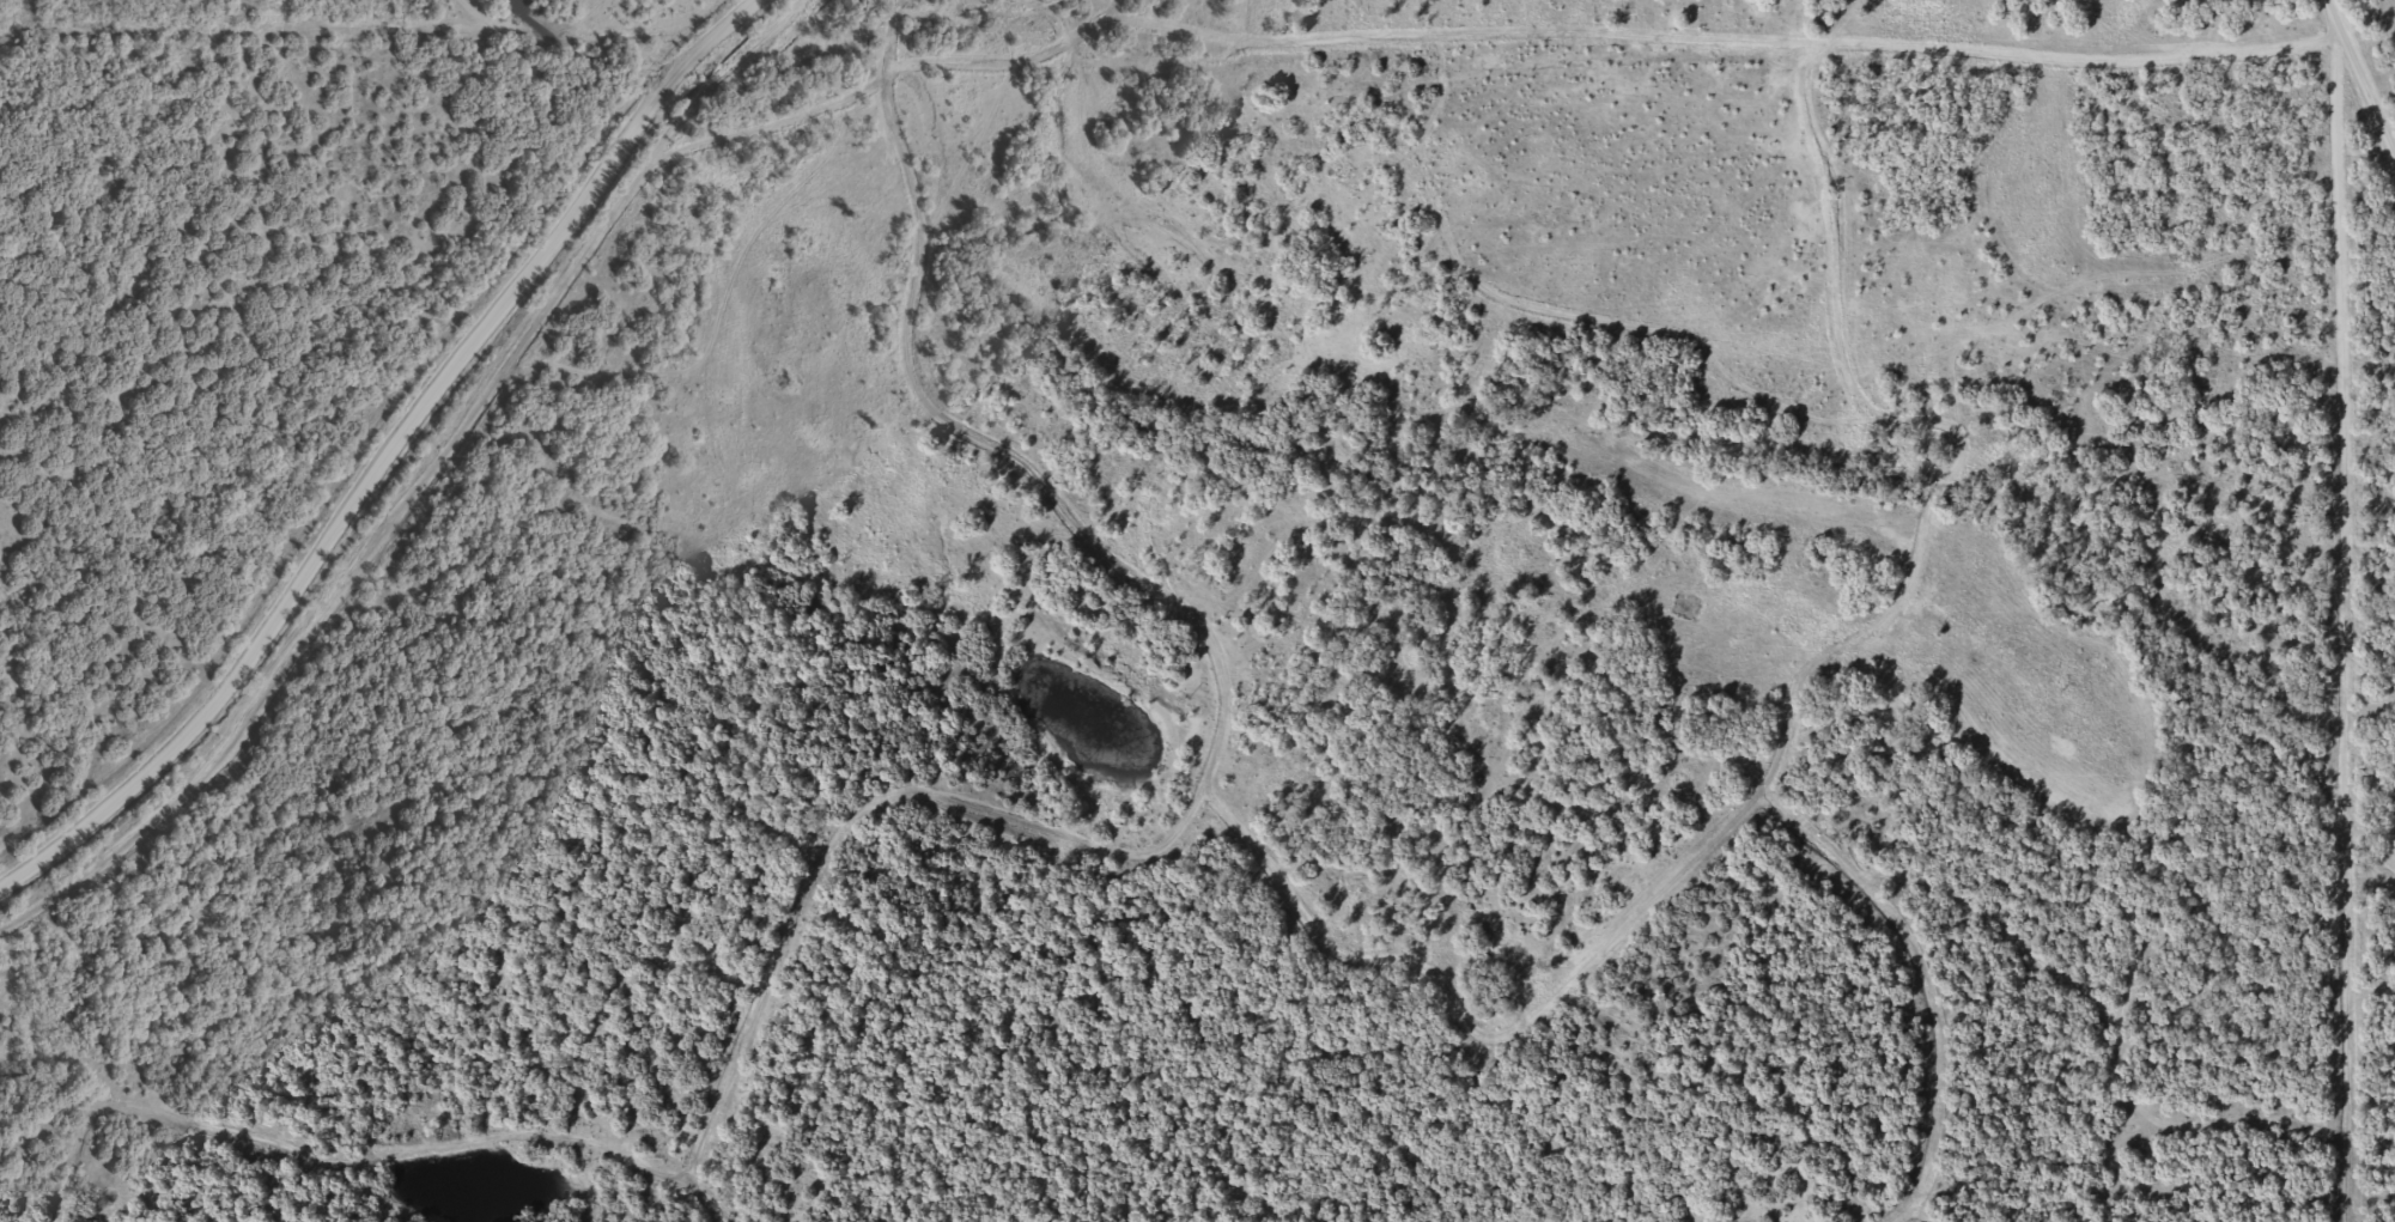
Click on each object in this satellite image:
road: (542, 13)
road: (1299, 51)
road: (2363, 79)
road: (1813, 129)
road: (1032, 454)
road: (389, 460)
road: (1826, 619)

